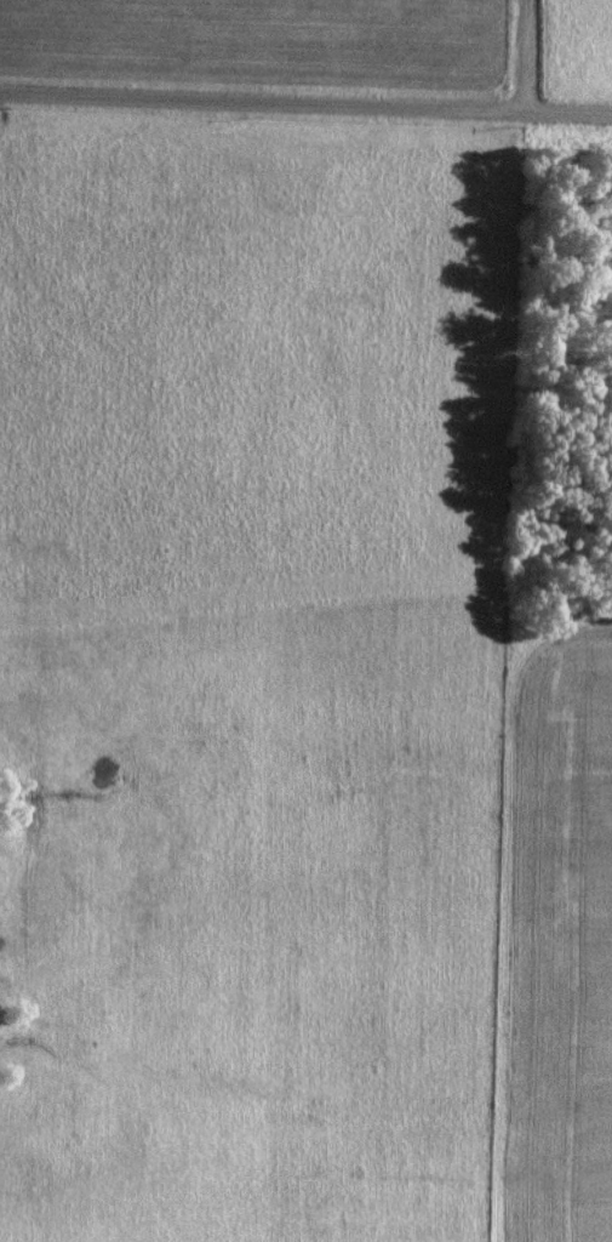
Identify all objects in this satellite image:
road: (525, 55)
road: (305, 103)

